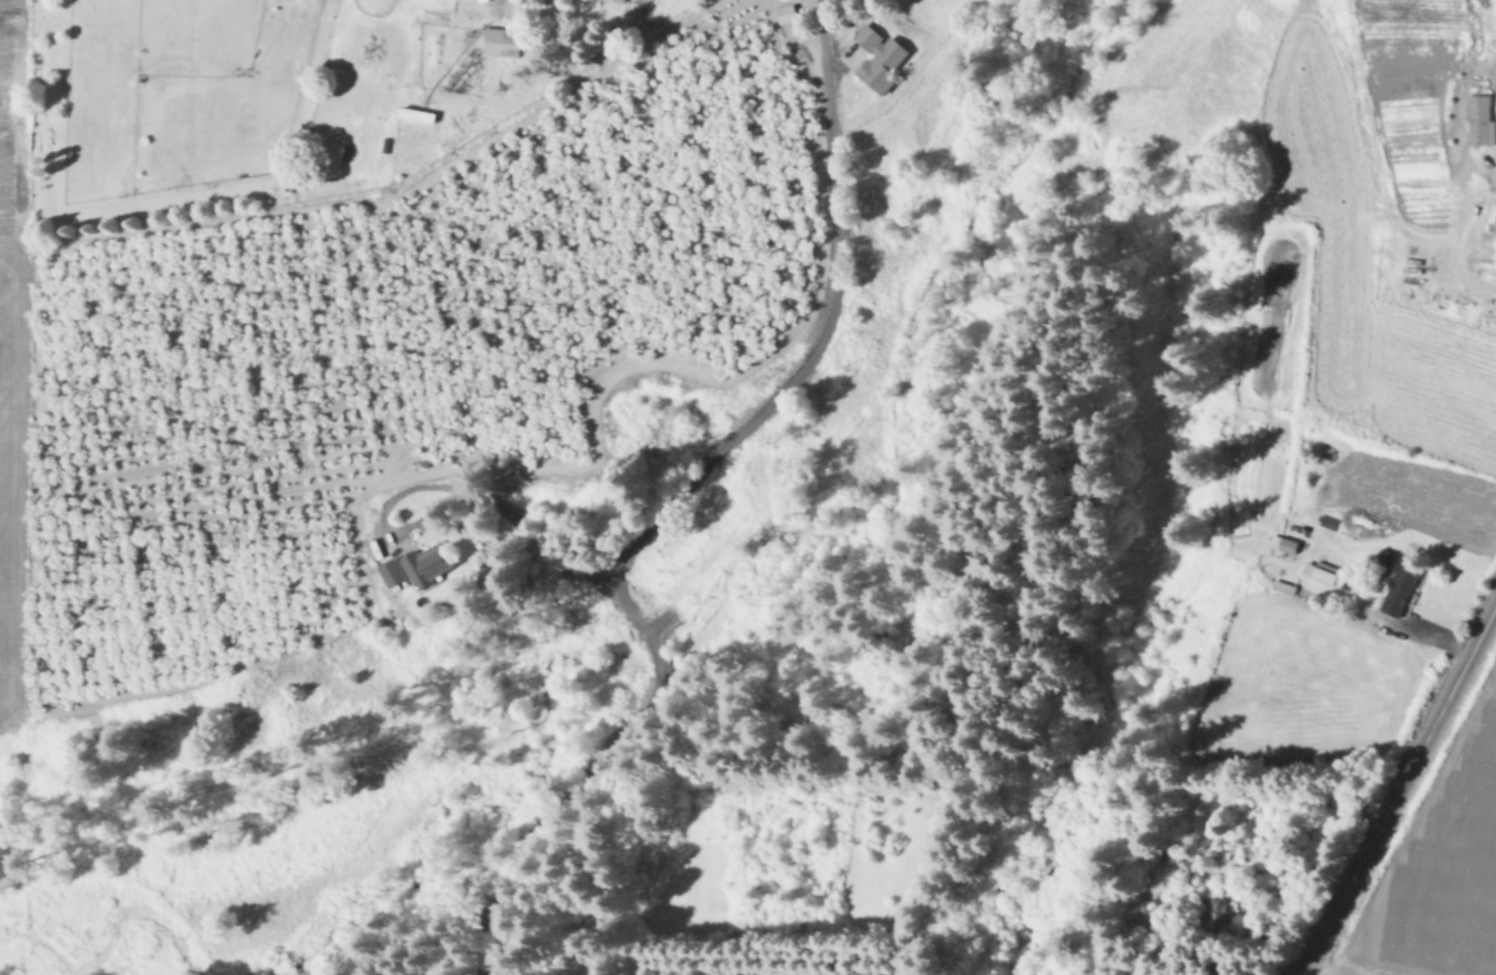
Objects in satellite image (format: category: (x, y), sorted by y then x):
building: (499, 41)
building: (876, 59)
crop: (171, 110)
building: (1481, 113)
building: (414, 115)
building: (1491, 227)
road: (684, 493)
road: (504, 507)
building: (1281, 544)
building: (415, 566)
building: (1318, 572)
building: (1396, 591)
road: (1398, 789)
crop: (1434, 865)
building: (1211, 911)
road: (1314, 972)

